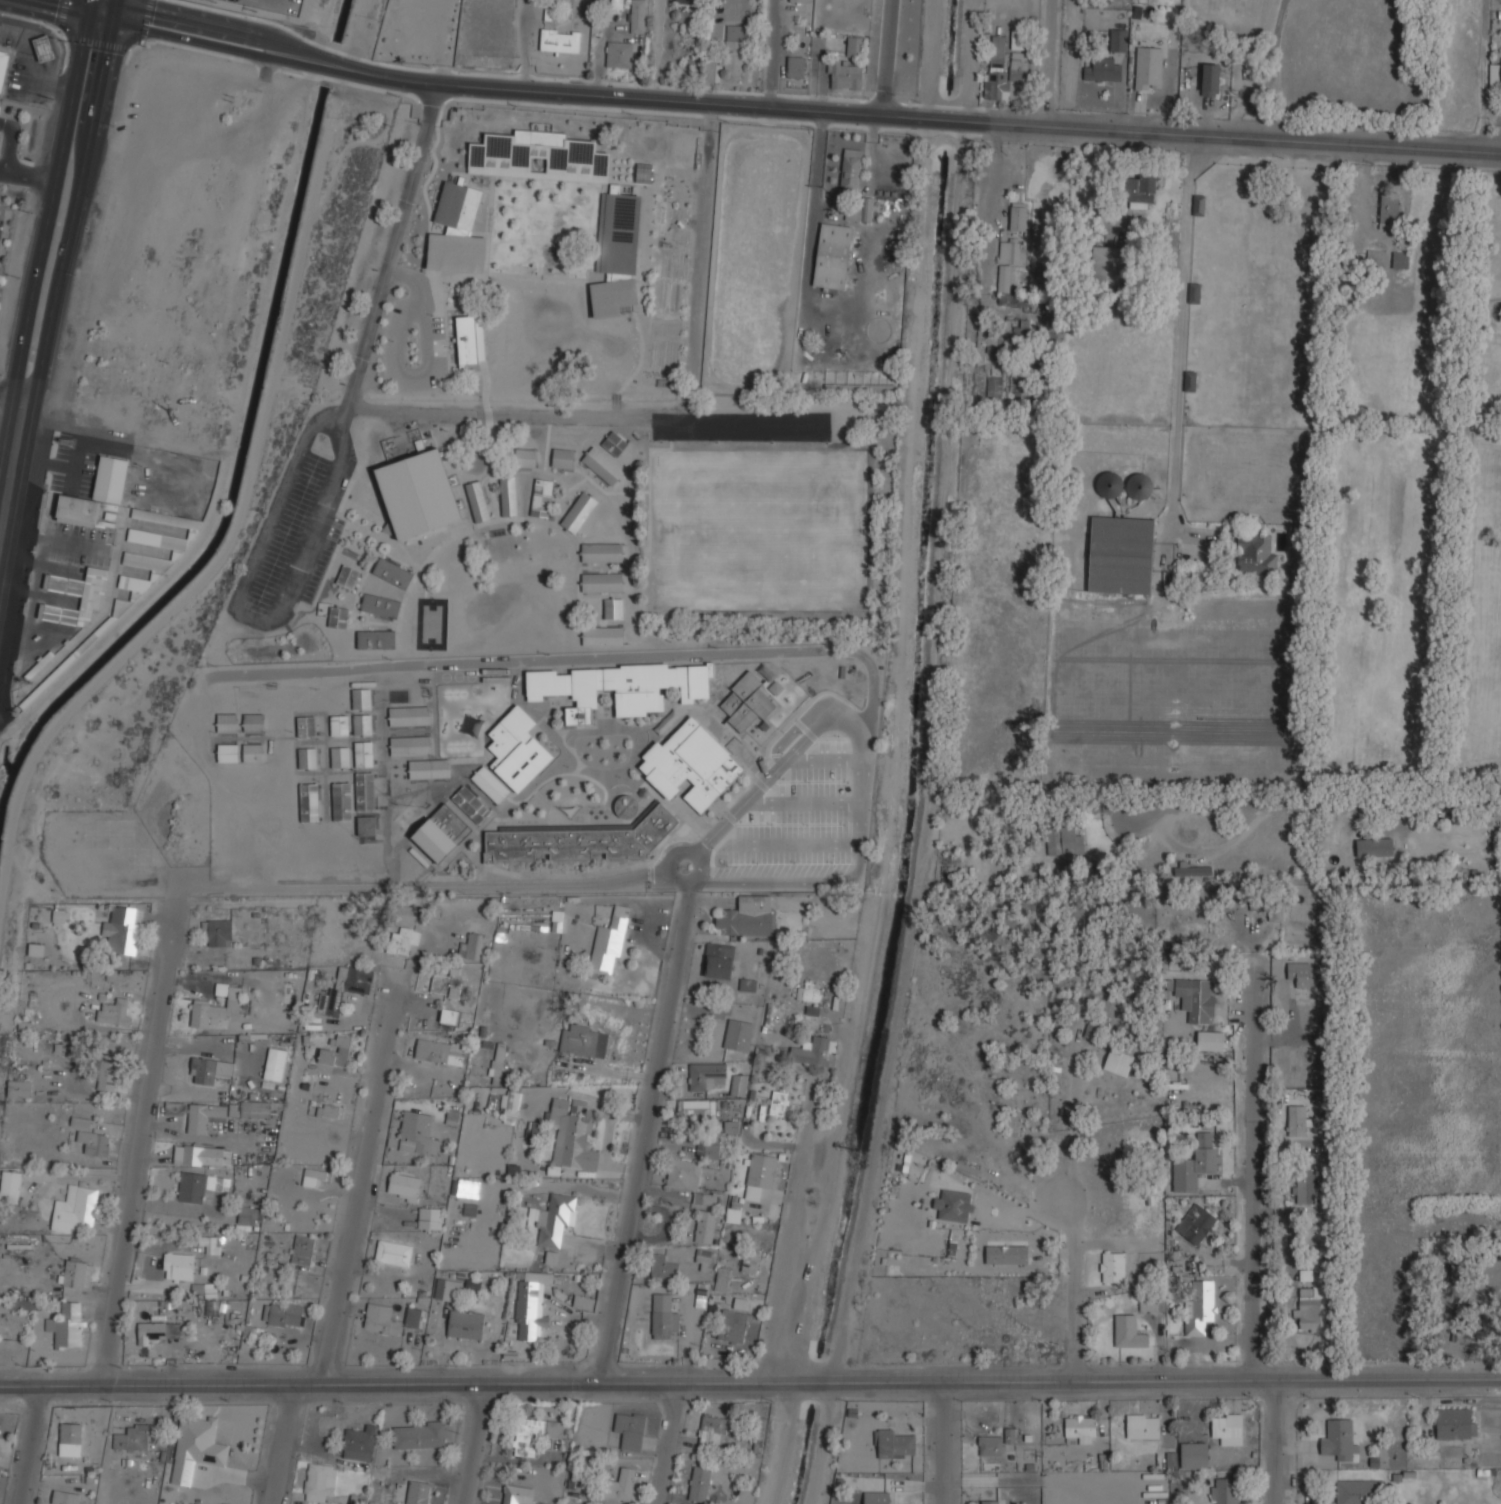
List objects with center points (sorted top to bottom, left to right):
building: (686, 1)
building: (800, 1)
road: (54, 10)
road: (97, 10)
building: (638, 16)
traffic signals: (95, 20)
building: (414, 20)
building: (686, 20)
building: (1017, 38)
building: (560, 40)
building: (1119, 40)
building: (855, 46)
building: (44, 48)
building: (735, 48)
road: (656, 49)
road: (772, 52)
building: (619, 54)
road: (888, 56)
road: (1050, 61)
building: (796, 66)
building: (1004, 67)
building: (3, 68)
building: (1149, 68)
building: (1103, 69)
building: (1495, 75)
building: (843, 76)
building: (1210, 79)
road: (794, 105)
road: (5, 147)
building: (538, 157)
building: (850, 169)
road: (32, 172)
building: (643, 173)
building: (1140, 188)
building: (1198, 205)
building: (860, 211)
building: (1388, 212)
building: (1097, 213)
building: (1017, 216)
building: (459, 231)
building: (618, 234)
building: (1009, 251)
building: (832, 256)
building: (1375, 258)
road: (704, 260)
building: (1399, 260)
building: (1106, 265)
road: (43, 276)
building: (1005, 285)
building: (1194, 293)
building: (612, 297)
building: (470, 339)
road: (1183, 342)
building: (861, 388)
building: (994, 388)
road: (10, 397)
road: (510, 413)
building: (615, 444)
building: (526, 458)
building: (563, 458)
building: (603, 466)
road: (334, 486)
building: (419, 494)
building: (509, 496)
building: (542, 498)
building: (478, 502)
building: (579, 512)
park: (758, 530)
parking lot: (288, 532)
building: (602, 552)
building: (1120, 555)
building: (1255, 555)
parking lot: (323, 559)
building: (392, 573)
building: (348, 577)
building: (86, 581)
building: (602, 583)
building: (381, 605)
building: (613, 608)
building: (339, 618)
park: (432, 624)
building: (602, 636)
building: (376, 639)
road: (572, 658)
building: (623, 687)
building: (262, 697)
building: (361, 699)
building: (748, 701)
building: (410, 716)
building: (227, 723)
building: (253, 723)
building: (339, 725)
building: (362, 725)
building: (306, 726)
road: (797, 727)
building: (411, 745)
building: (517, 749)
building: (253, 752)
building: (228, 753)
building: (364, 754)
building: (340, 757)
building: (307, 758)
road: (838, 760)
building: (690, 763)
building: (430, 769)
road: (767, 780)
building: (490, 784)
building: (365, 792)
building: (342, 801)
building: (308, 802)
road: (813, 803)
building: (471, 805)
building: (626, 807)
road: (1313, 807)
parking lot: (800, 820)
building: (366, 825)
building: (441, 833)
building: (580, 840)
building: (1063, 840)
road: (800, 844)
building: (1374, 847)
road: (693, 851)
road: (859, 870)
building: (1192, 870)
road: (431, 885)
building: (1274, 912)
building: (59, 915)
building: (748, 916)
building: (121, 930)
building: (219, 933)
building: (402, 941)
building: (609, 941)
building: (471, 947)
building: (35, 950)
building: (719, 960)
building: (1302, 973)
building: (446, 982)
building: (747, 985)
building: (344, 988)
building: (808, 994)
building: (1195, 999)
building: (215, 1007)
building: (114, 1012)
building: (448, 1016)
building: (737, 1035)
building: (1209, 1040)
building: (583, 1041)
building: (335, 1051)
building: (440, 1052)
building: (810, 1052)
building: (1118, 1062)
building: (498, 1063)
building: (274, 1064)
building: (209, 1070)
building: (105, 1075)
building: (705, 1076)
building: (738, 1085)
building: (19, 1089)
building: (778, 1103)
building: (578, 1105)
building: (511, 1107)
building: (174, 1108)
building: (249, 1109)
building: (695, 1109)
building: (204, 1117)
building: (1296, 1120)
building: (80, 1122)
road: (1075, 1130)
building: (415, 1132)
road: (142, 1133)
road: (646, 1134)
building: (571, 1137)
building: (94, 1143)
building: (707, 1150)
building: (202, 1155)
building: (1194, 1163)
building: (683, 1174)
building: (759, 1175)
building: (313, 1176)
building: (1304, 1185)
building: (404, 1186)
building: (10, 1187)
building: (191, 1187)
building: (465, 1188)
building: (75, 1209)
building: (732, 1215)
building: (247, 1216)
building: (429, 1218)
building: (553, 1219)
building: (1195, 1223)
building: (704, 1226)
road: (800, 1235)
building: (209, 1244)
road: (346, 1248)
road: (1252, 1248)
building: (302, 1250)
building: (393, 1253)
building: (1006, 1254)
building: (551, 1257)
building: (704, 1259)
building: (749, 1261)
building: (178, 1266)
building: (663, 1267)
building: (1112, 1267)
building: (74, 1274)
building: (1309, 1276)
building: (721, 1279)
building: (472, 1284)
road: (1075, 1287)
building: (447, 1290)
building: (583, 1302)
building: (1152, 1302)
building: (22, 1304)
building: (531, 1306)
building: (1198, 1308)
building: (1311, 1309)
building: (282, 1313)
building: (661, 1315)
building: (412, 1317)
building: (380, 1319)
building: (465, 1325)
building: (66, 1326)
building: (732, 1326)
building: (157, 1332)
building: (1128, 1332)
road: (750, 1384)
building: (1454, 1423)
building: (1143, 1426)
building: (1228, 1428)
building: (1082, 1429)
building: (629, 1430)
building: (713, 1432)
building: (534, 1433)
building: (1009, 1435)
building: (420, 1436)
building: (132, 1438)
building: (70, 1440)
building: (1339, 1442)
road: (944, 1443)
building: (360, 1444)
road: (667, 1444)
road: (31, 1445)
road: (474, 1445)
building: (895, 1445)
building: (991, 1446)
building: (196, 1448)
building: (1194, 1456)
building: (1166, 1460)
building: (321, 1483)
building: (699, 1484)
building: (621, 1485)
building: (1225, 1490)
building: (1355, 1491)
building: (417, 1492)
building: (518, 1495)
building: (66, 1497)
building: (876, 1497)
building: (987, 1502)

